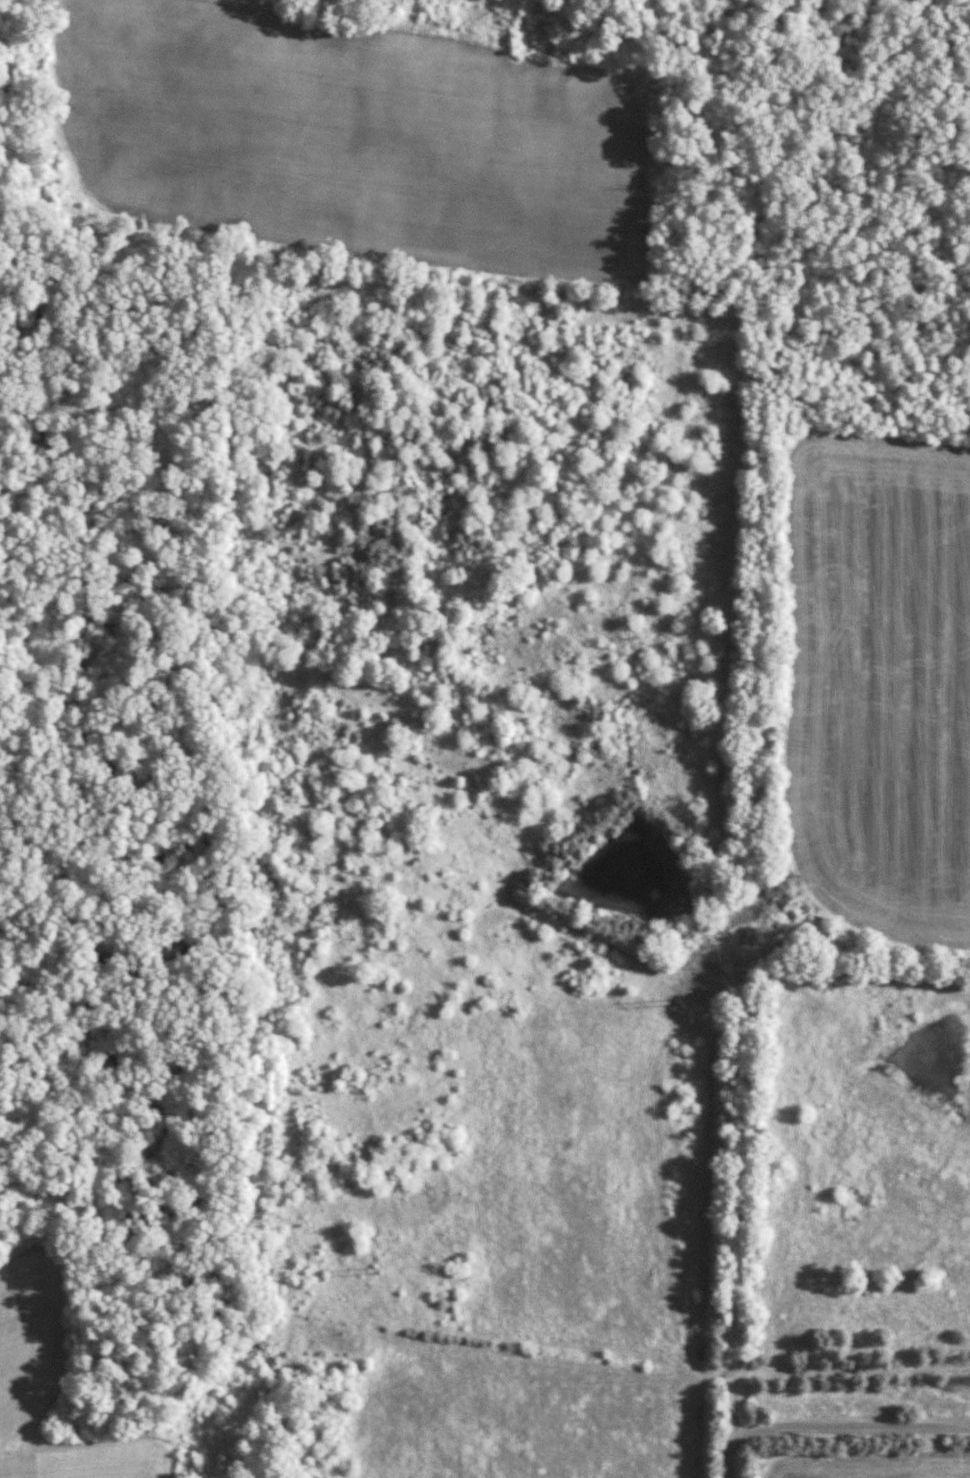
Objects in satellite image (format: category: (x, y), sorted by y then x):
road: (850, 1431)
road: (728, 1456)

